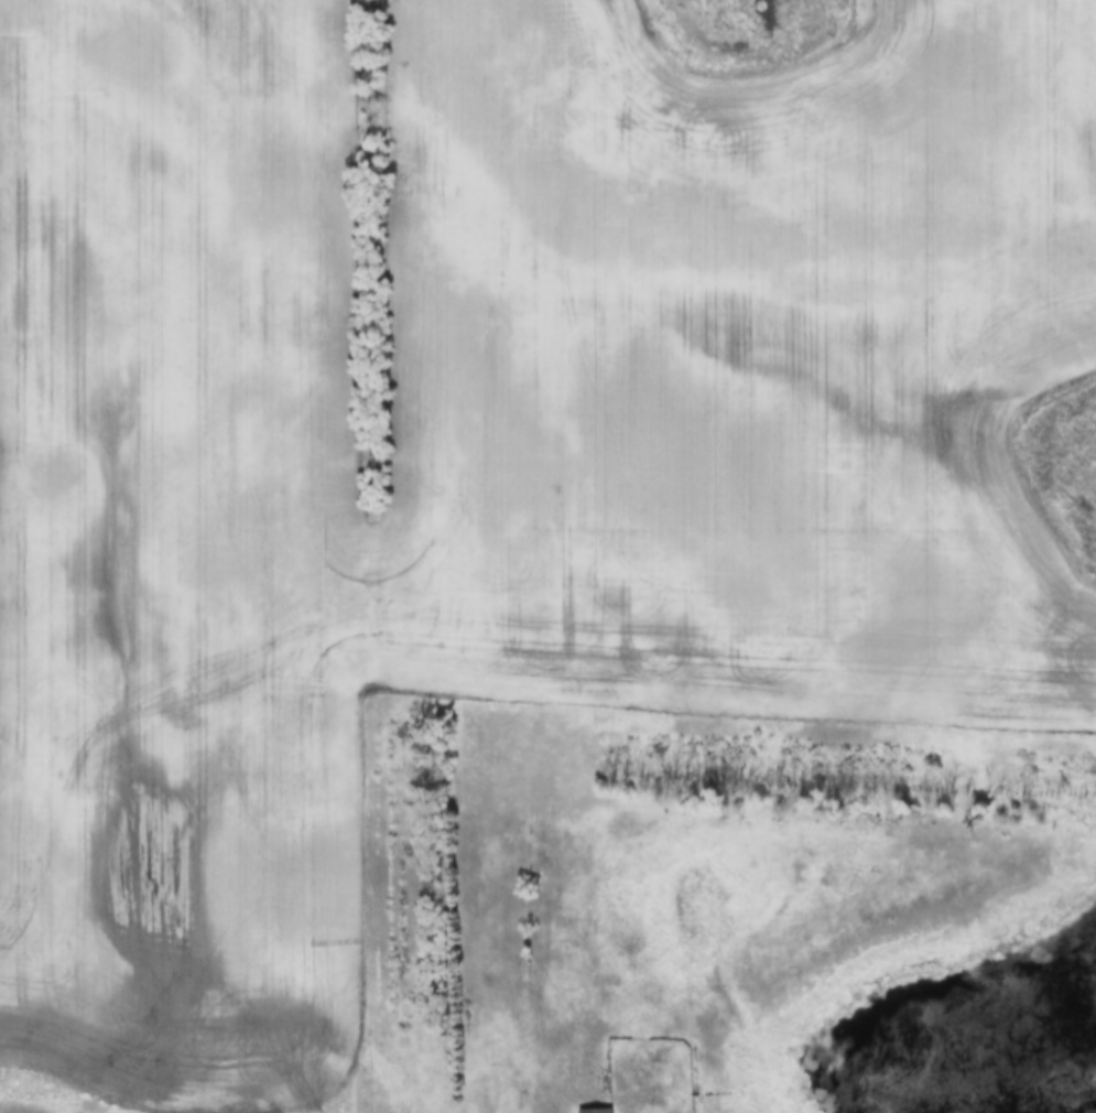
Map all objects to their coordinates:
building: (589, 1110)

